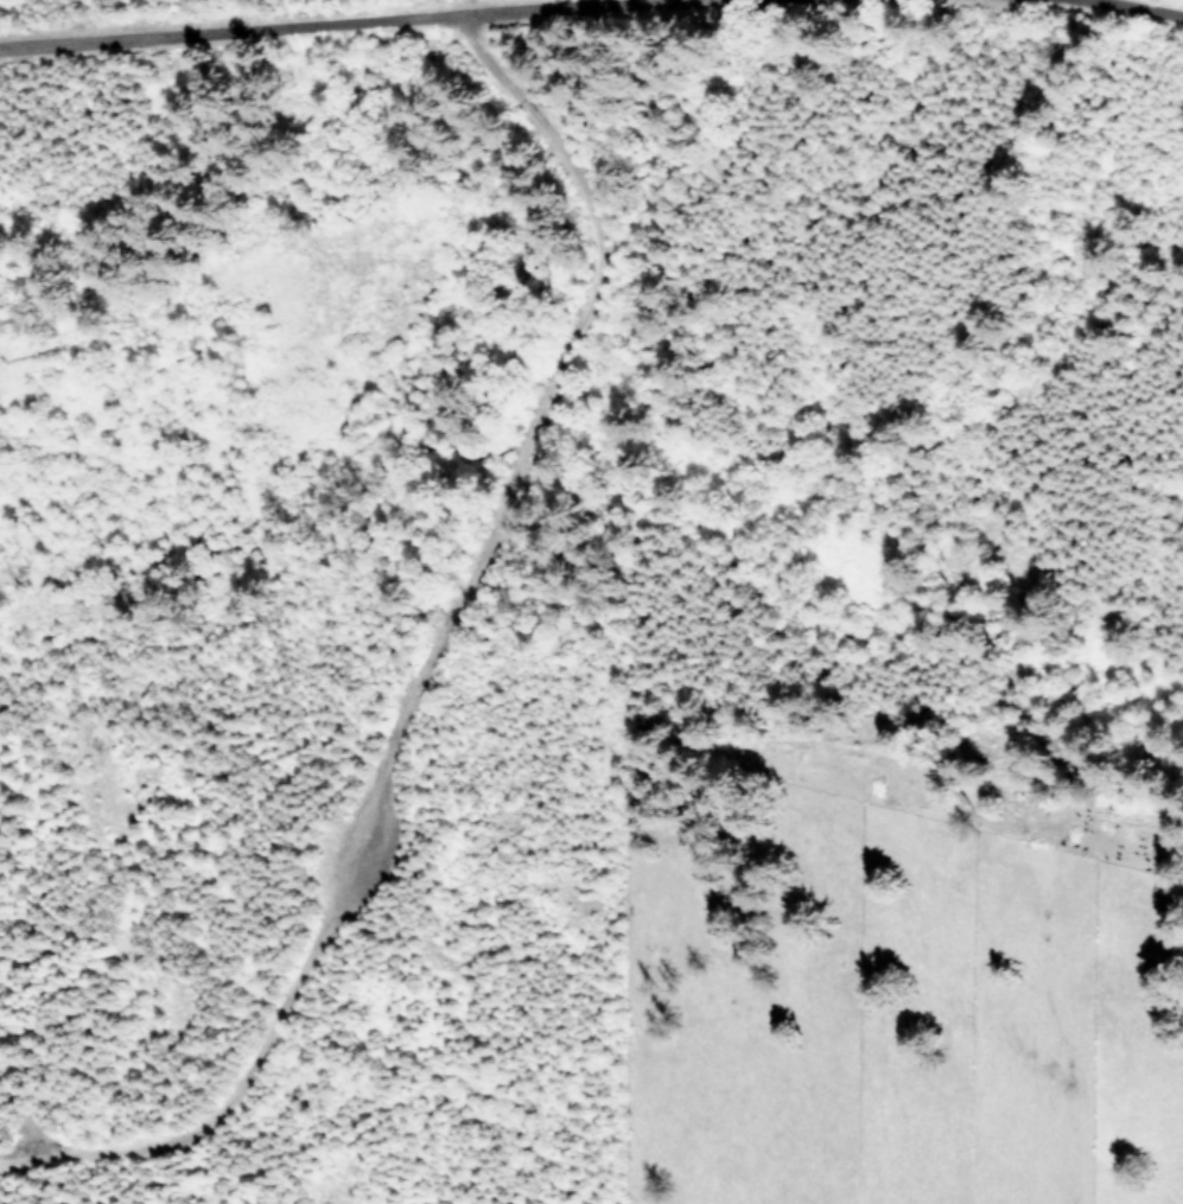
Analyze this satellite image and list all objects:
road: (1145, 7)
road: (360, 15)

